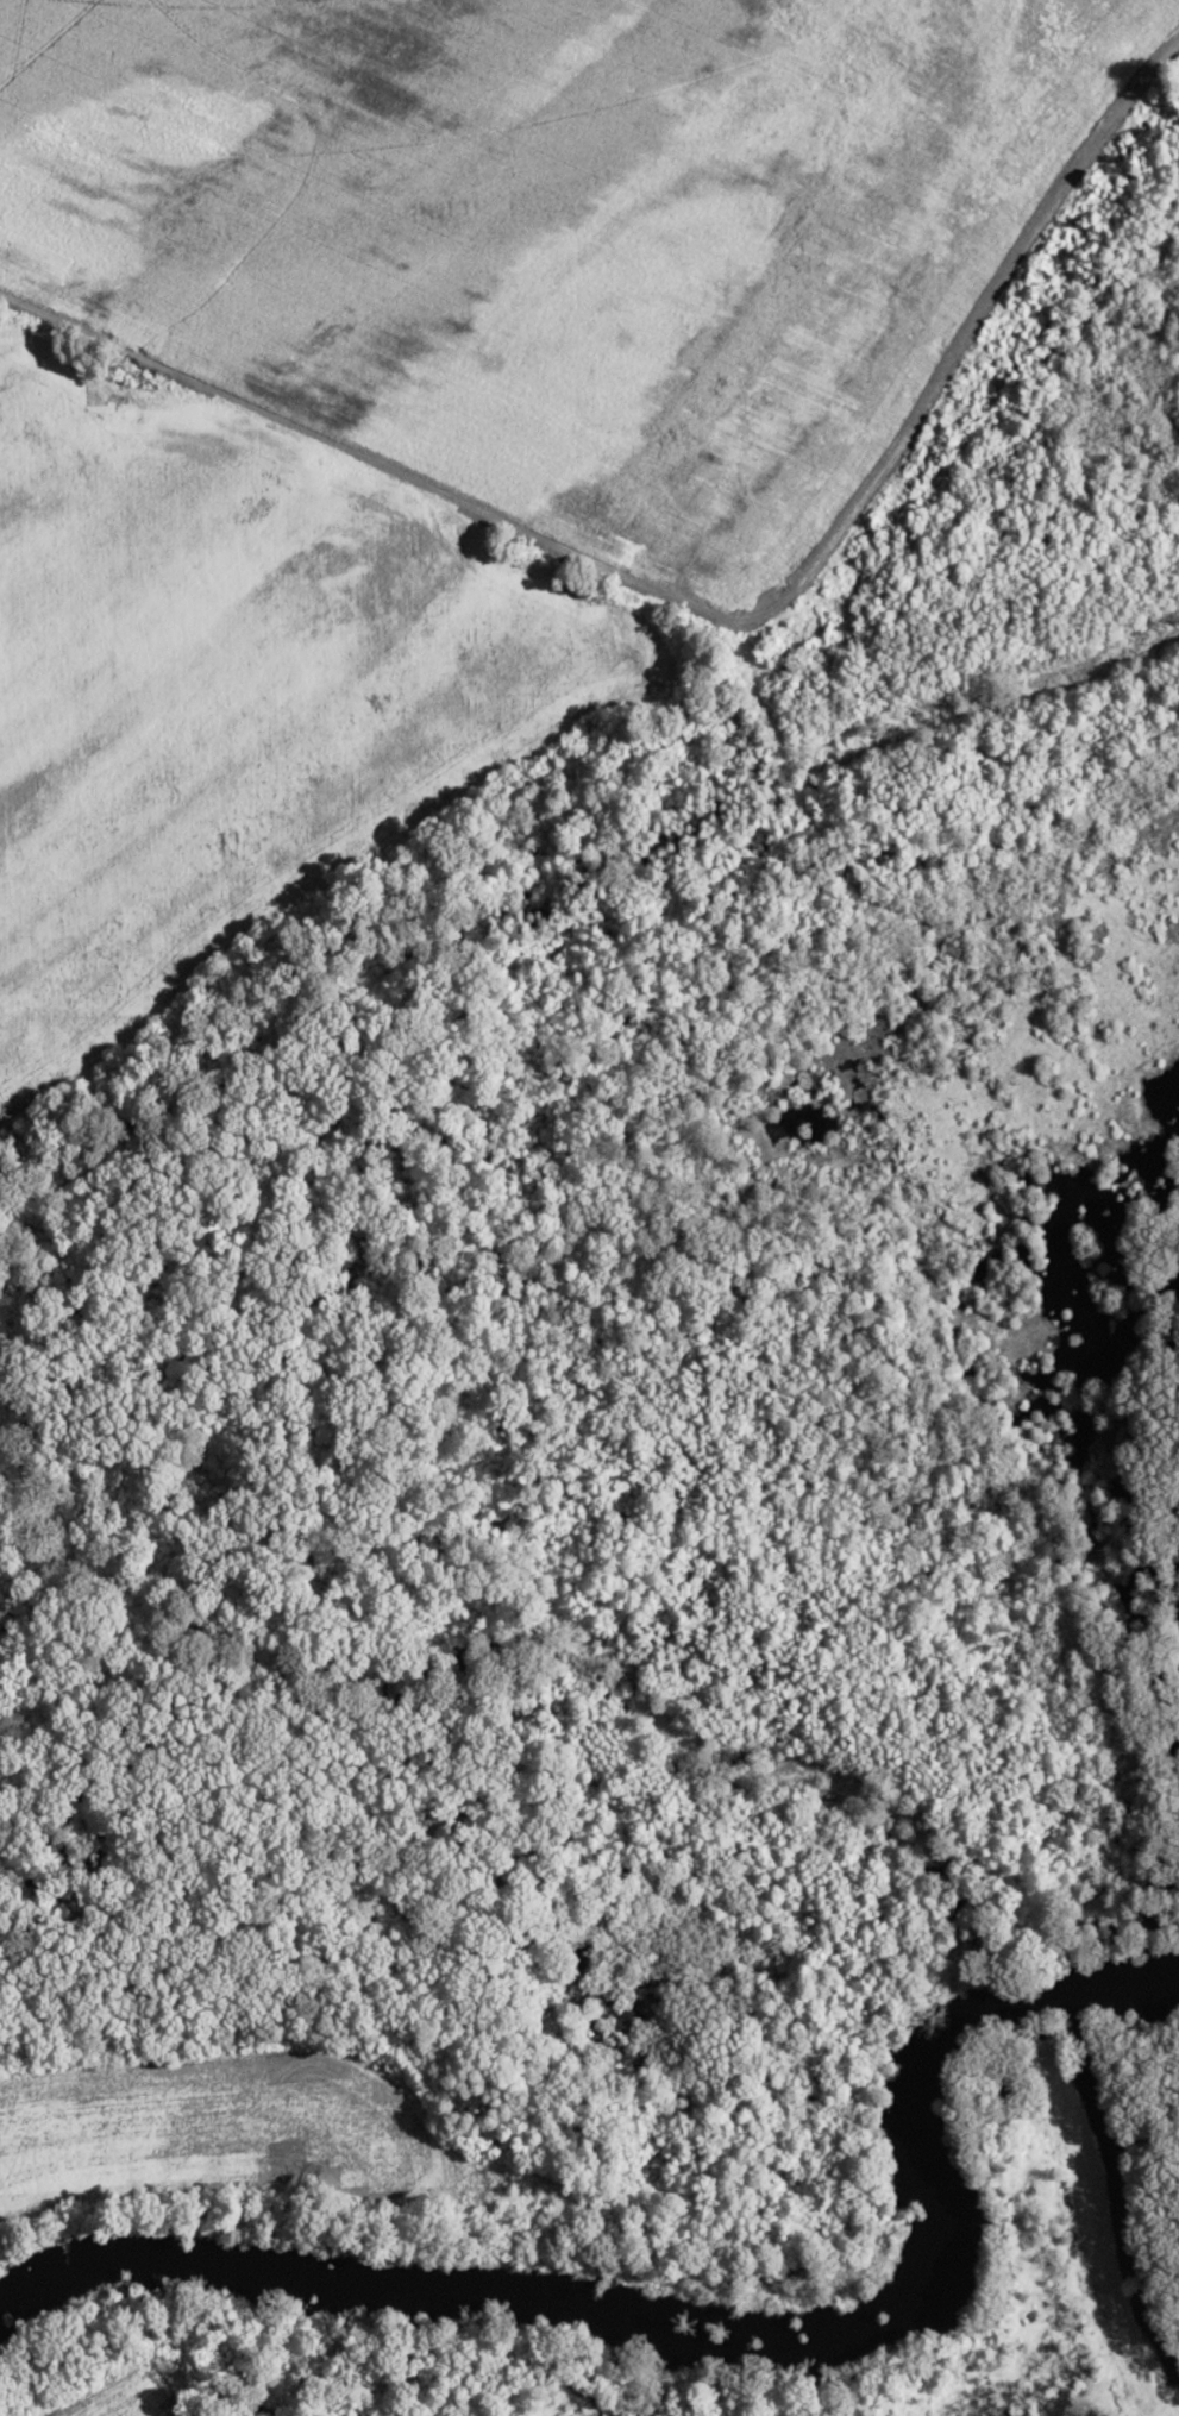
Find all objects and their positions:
road: (1117, 2244)

